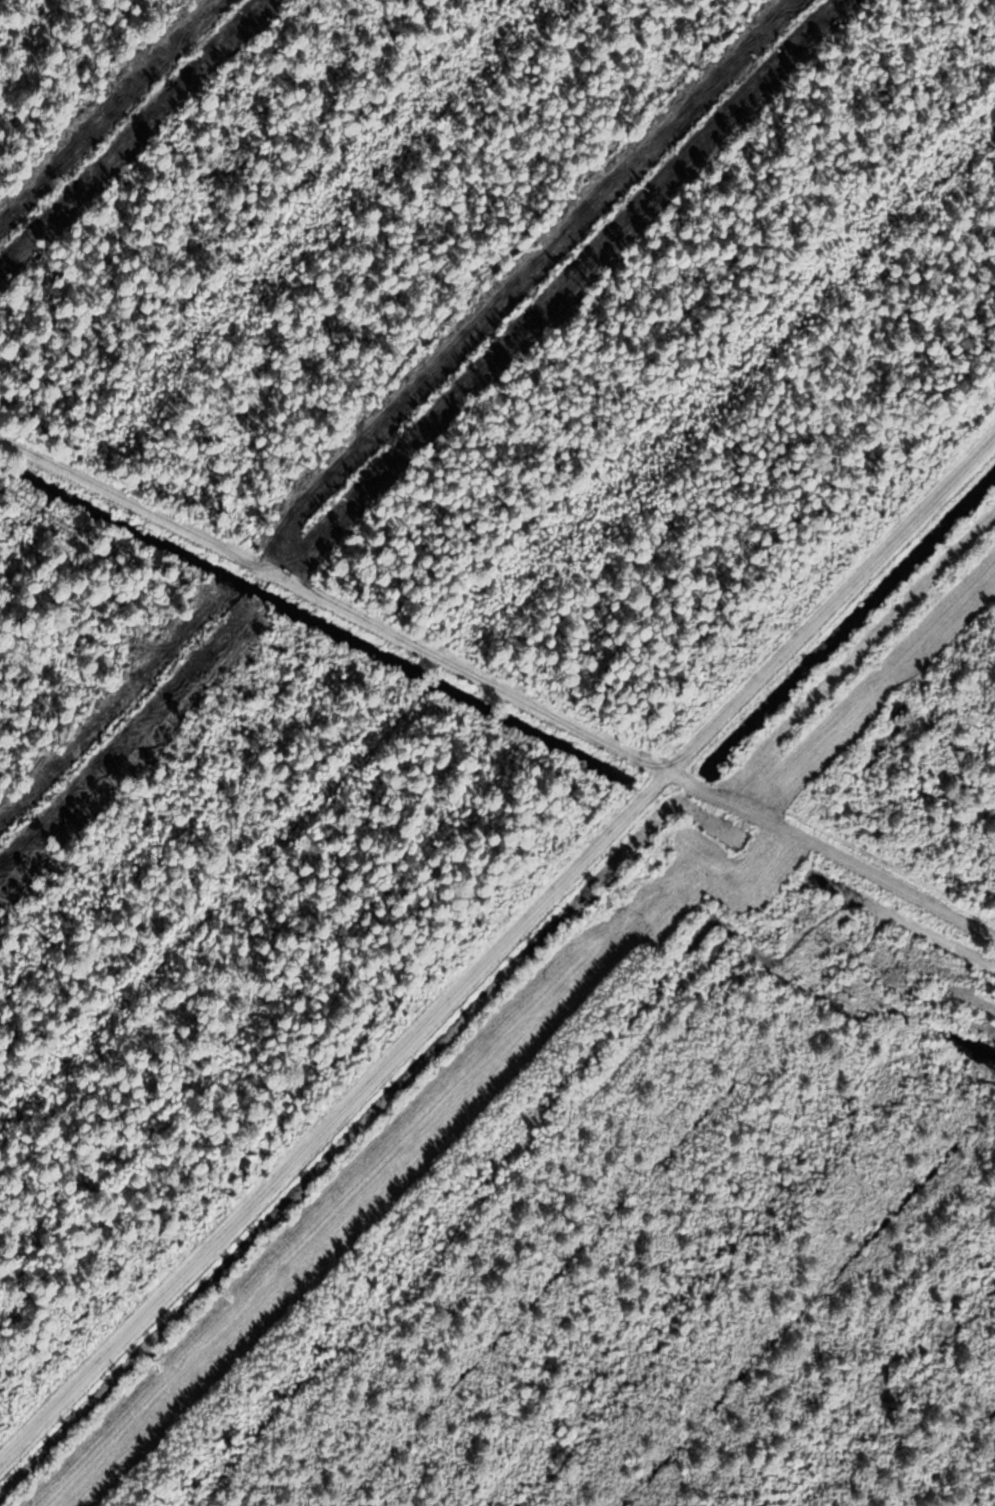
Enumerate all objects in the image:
road: (499, 694)
road: (495, 947)

